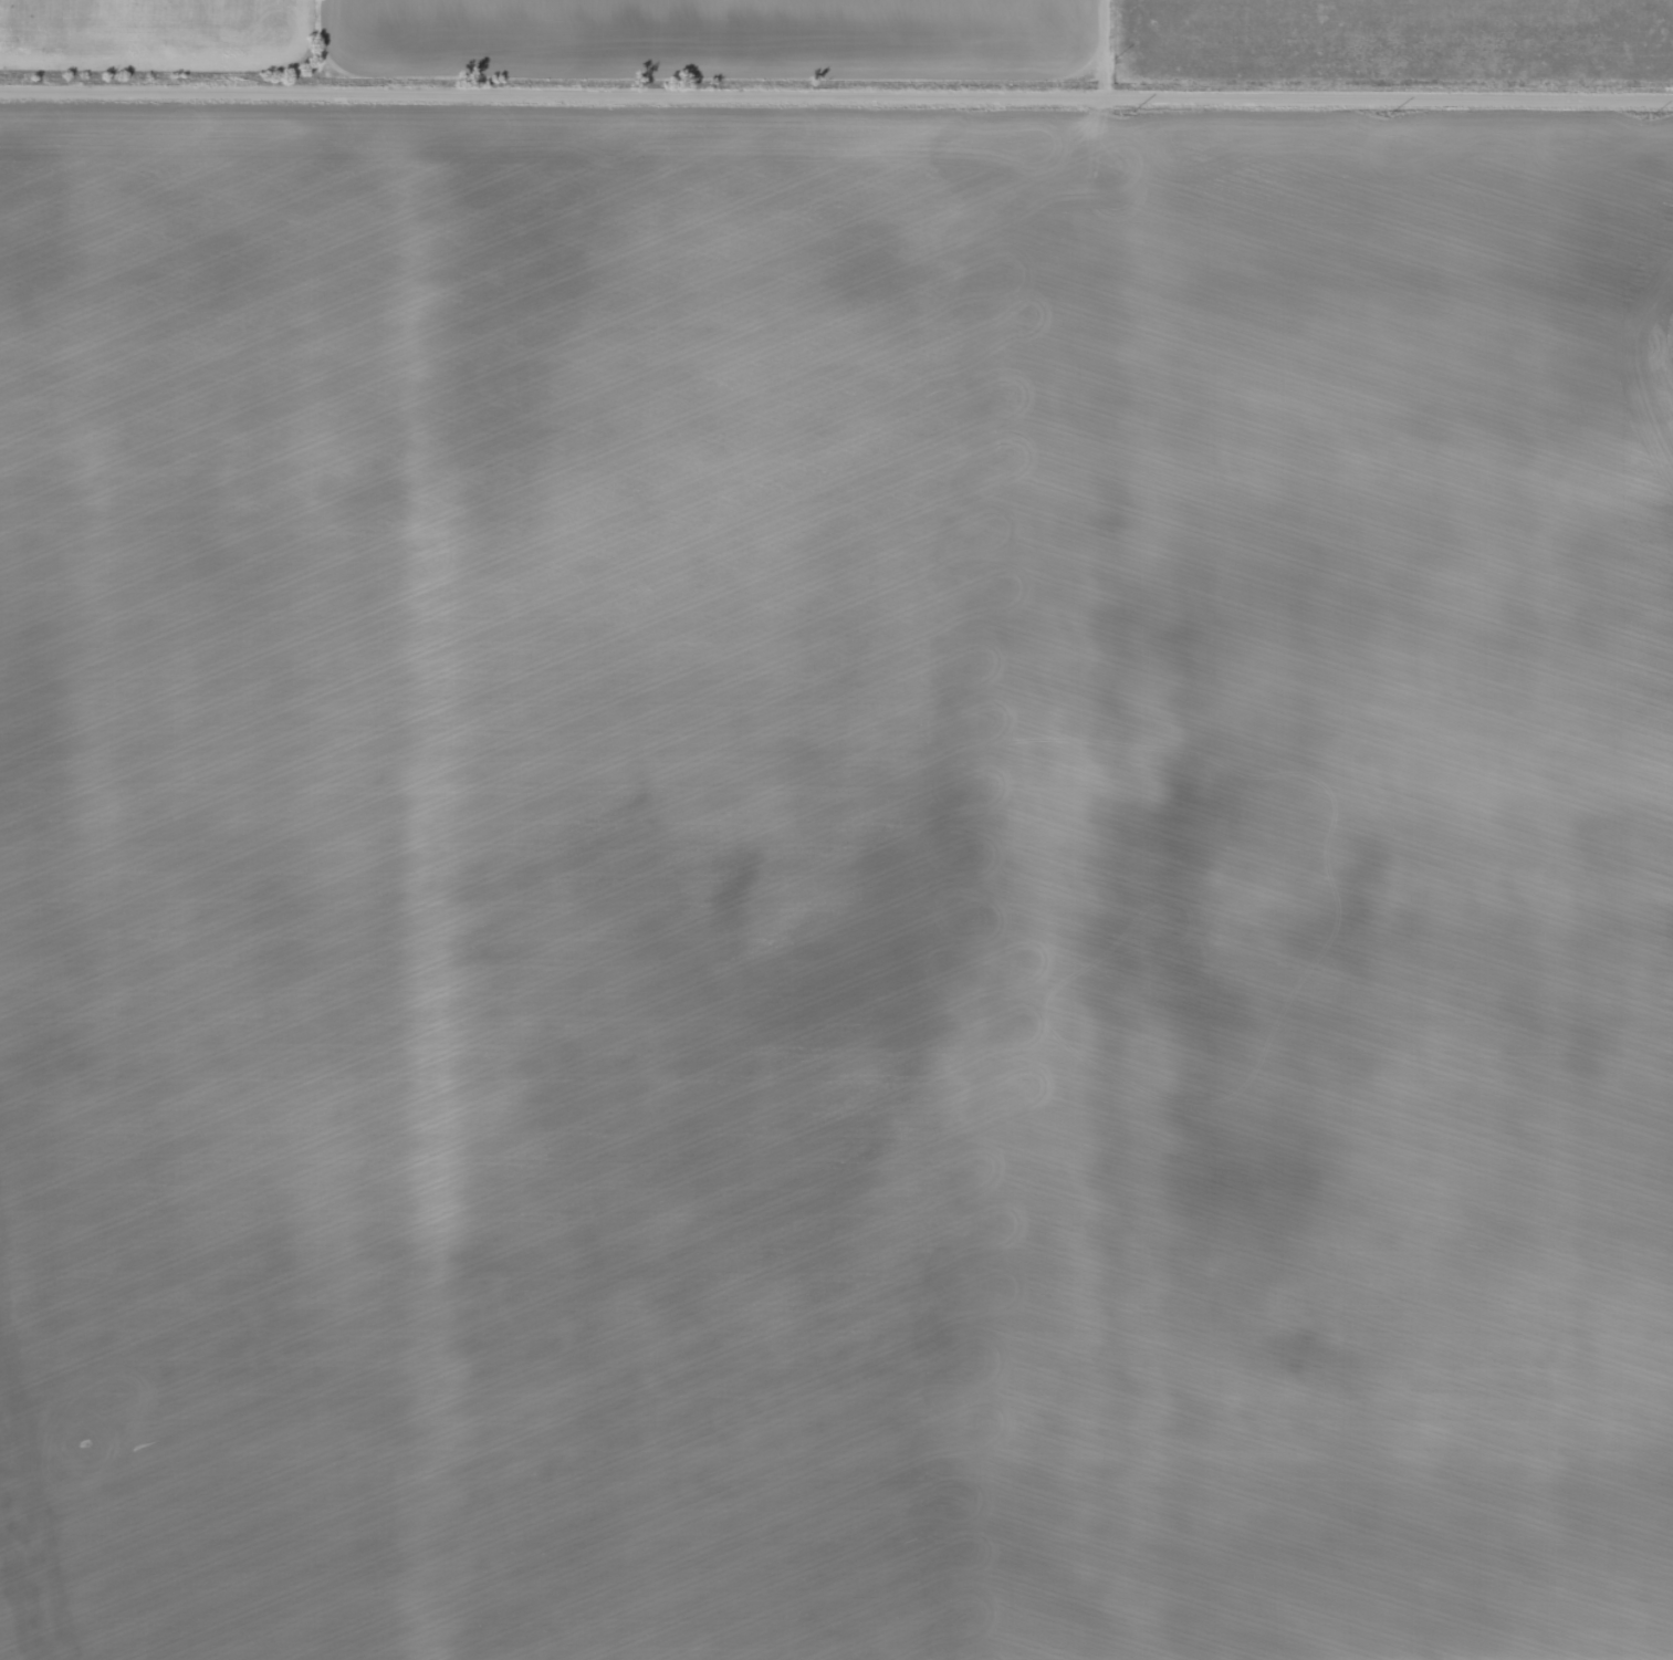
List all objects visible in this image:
road: (836, 119)

